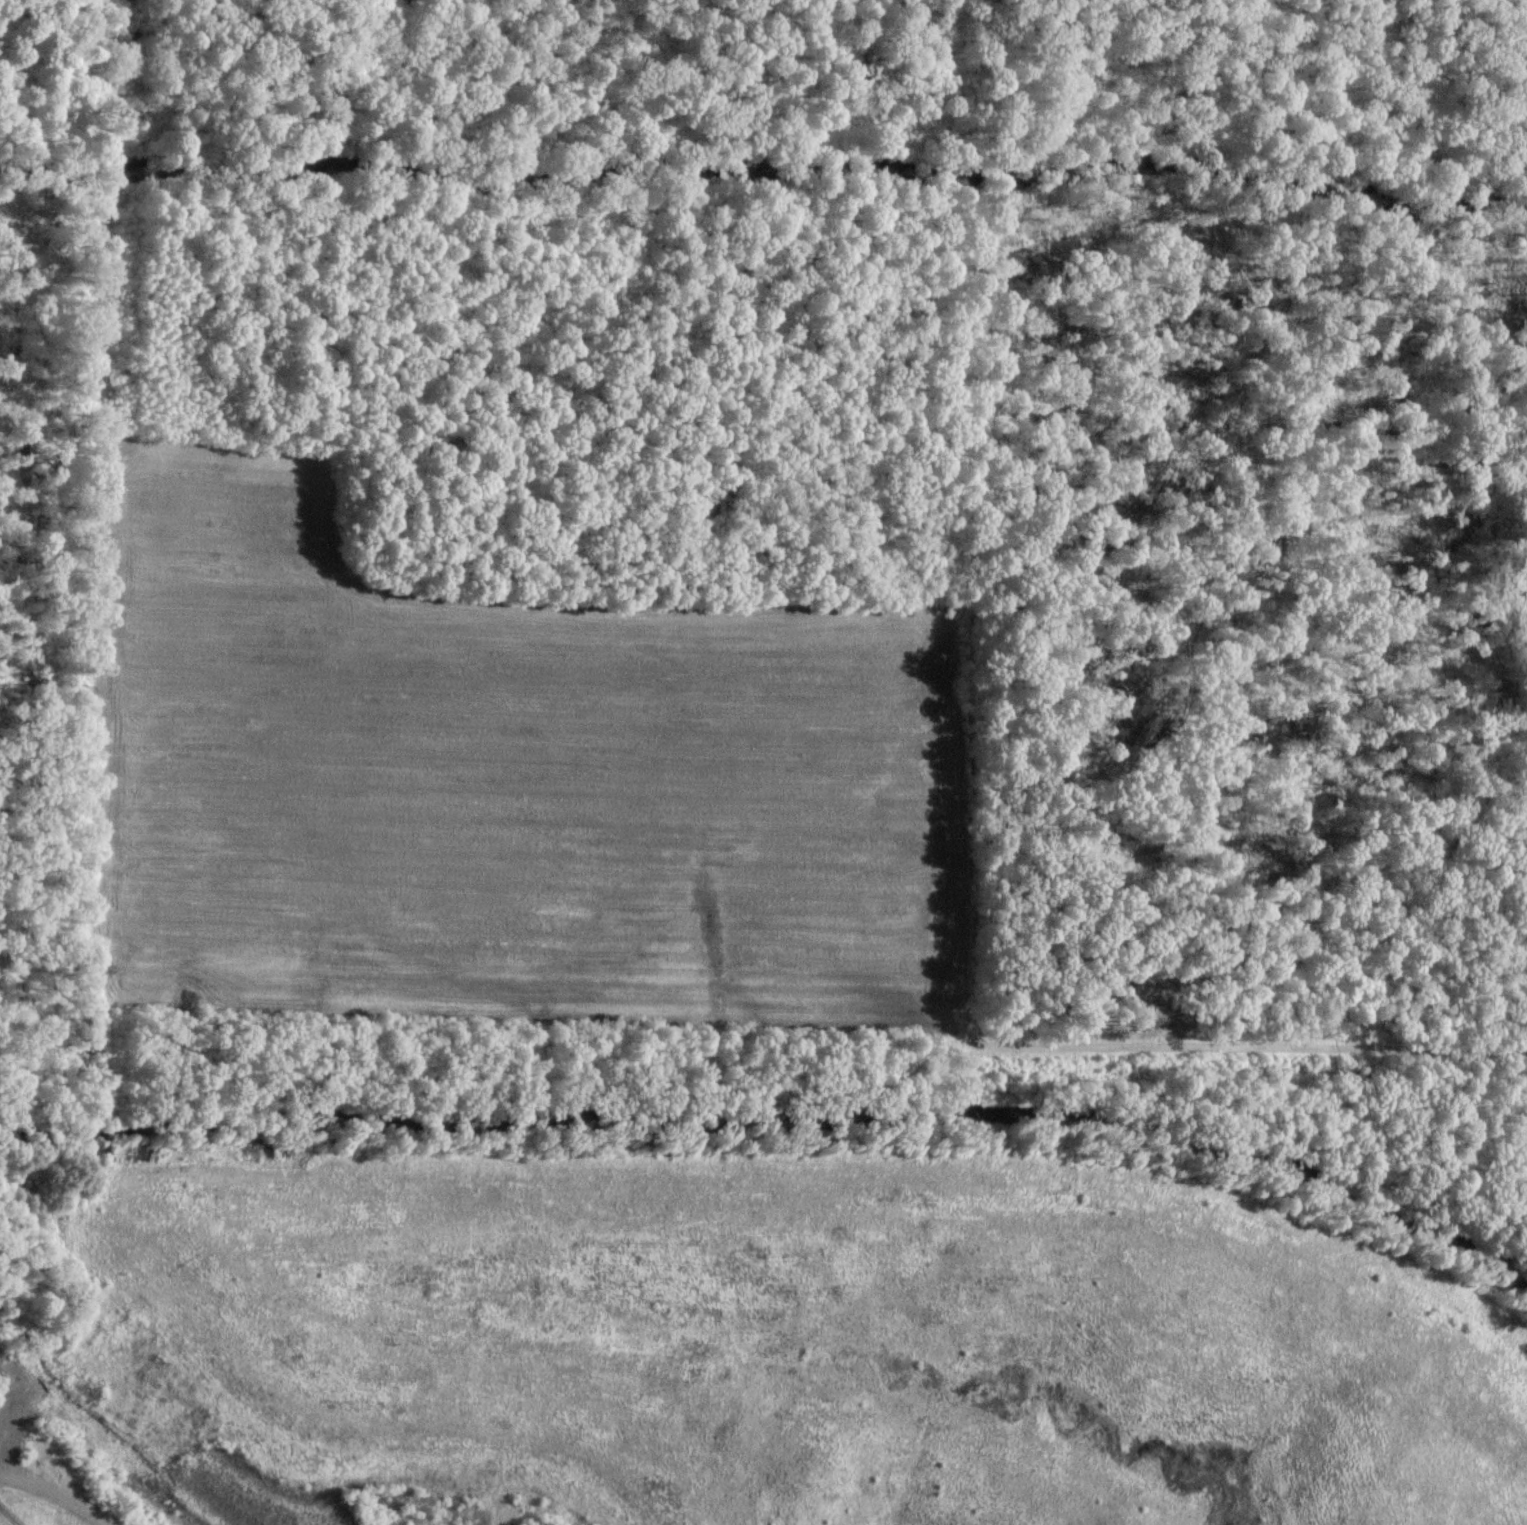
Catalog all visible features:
road: (54, 1496)

